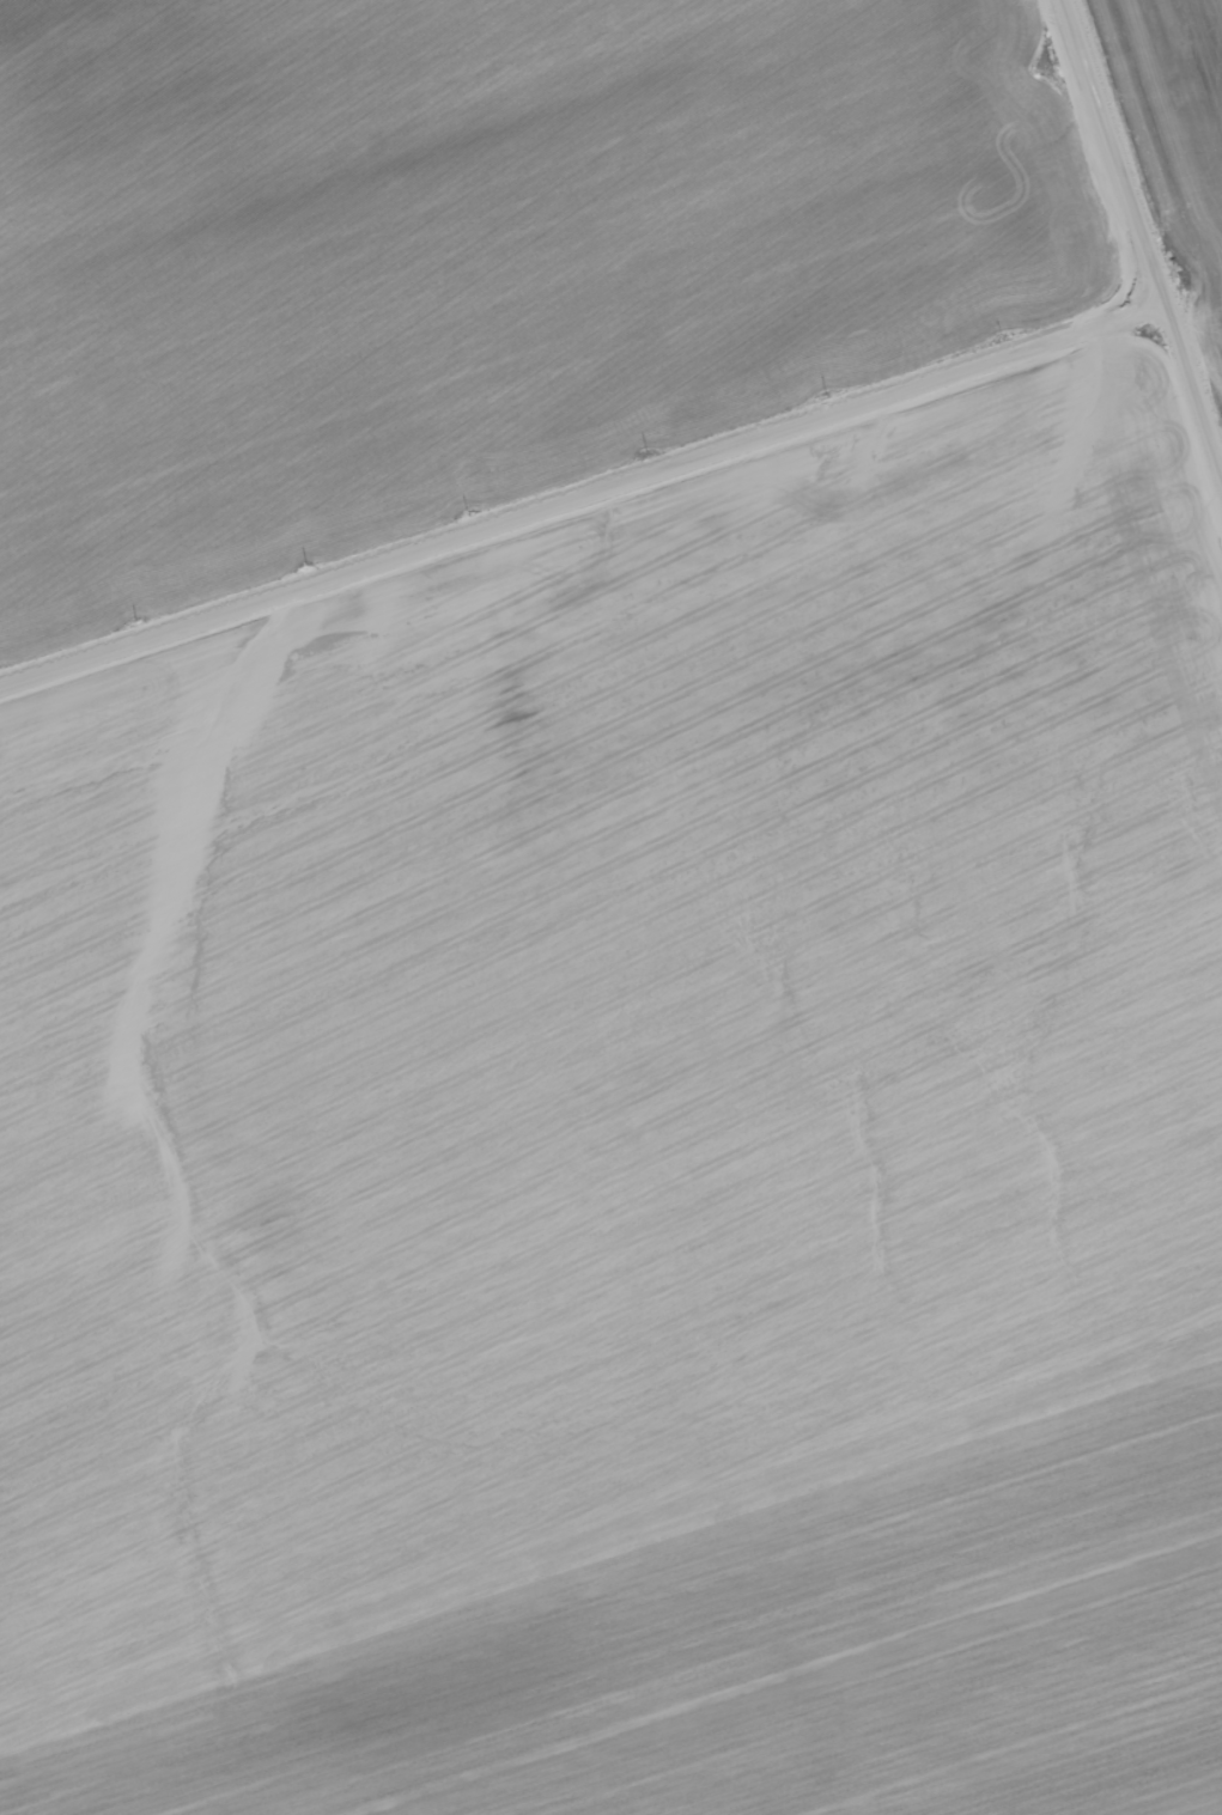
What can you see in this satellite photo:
road: (1114, 151)
road: (1193, 391)
road: (582, 492)

